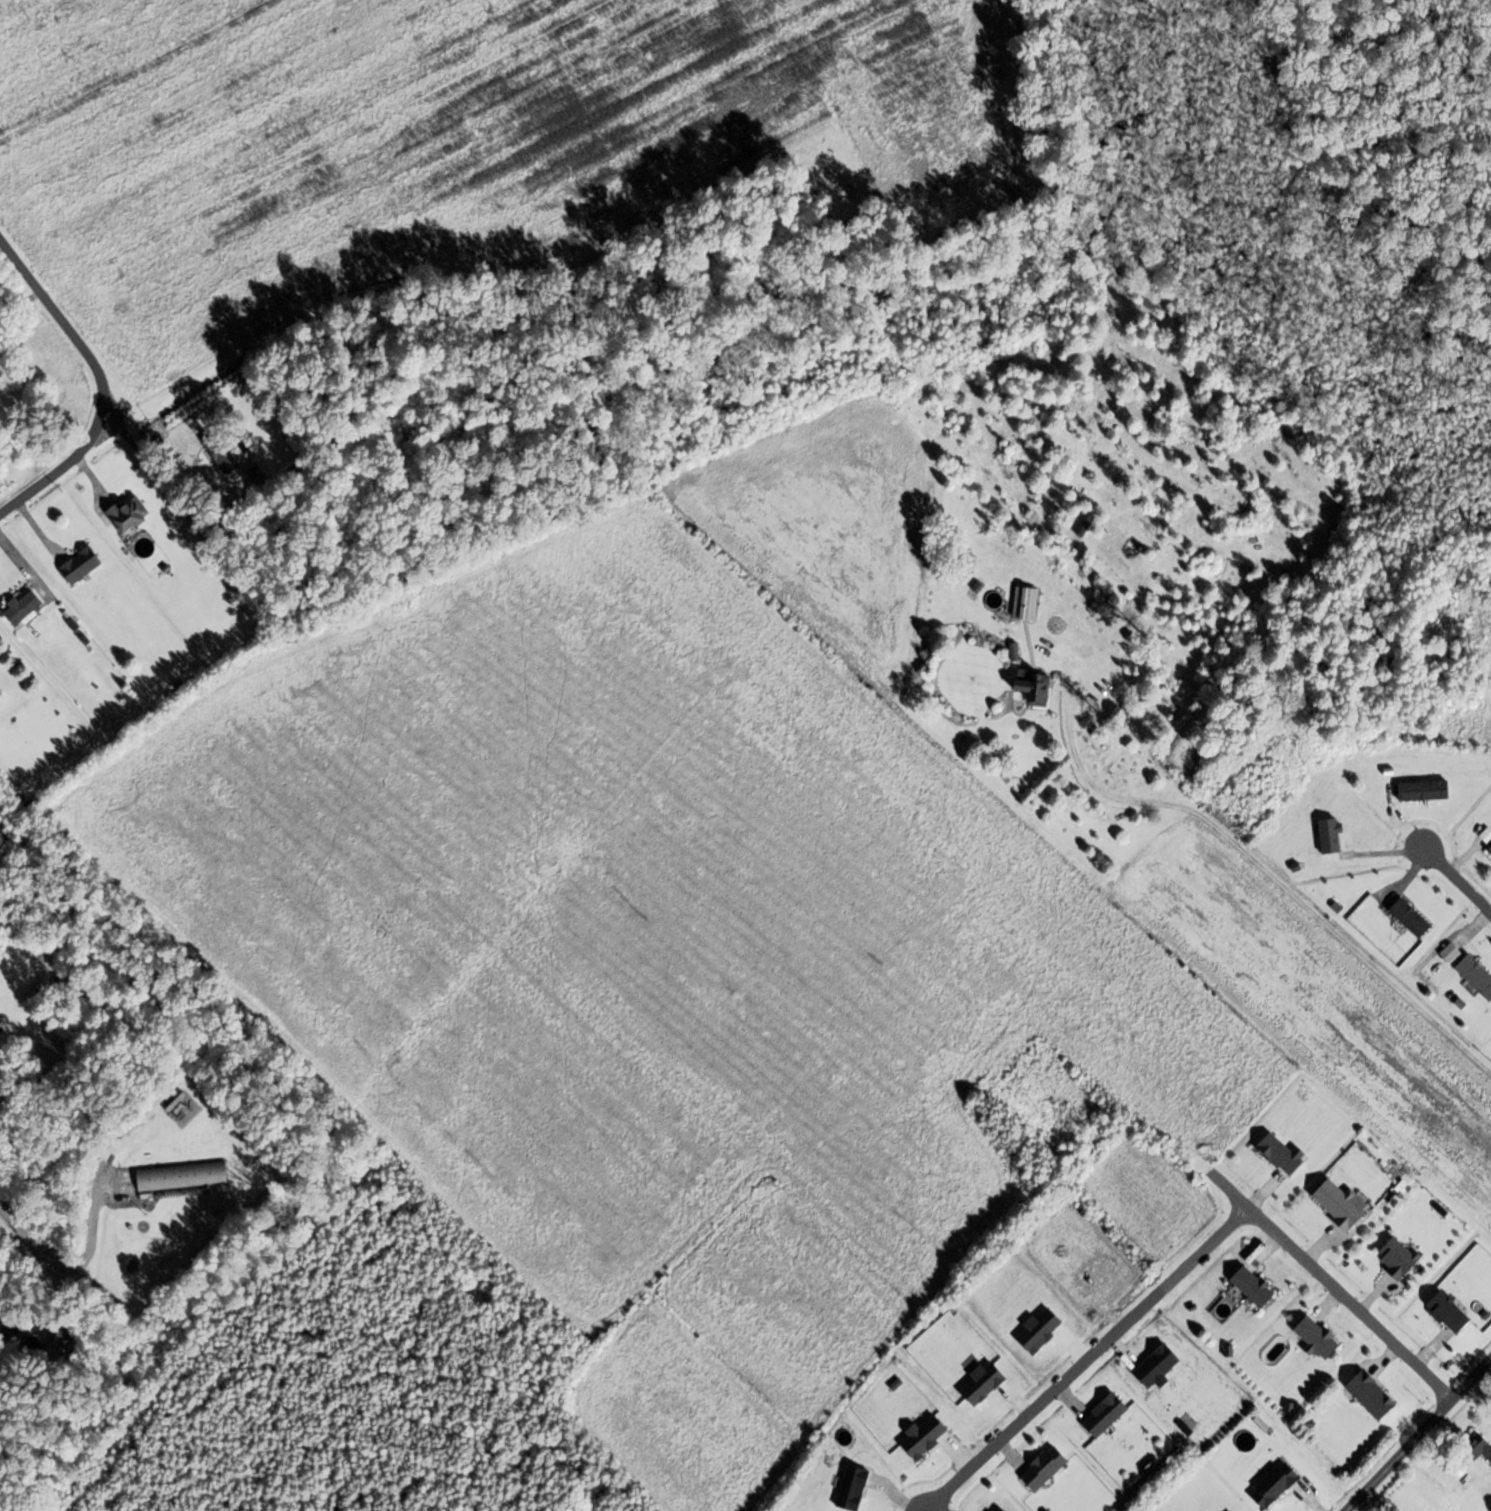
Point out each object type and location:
park: (833, 173)
road: (96, 383)
building: (230, 452)
road: (186, 513)
building: (130, 514)
building: (82, 565)
building: (1475, 587)
building: (1026, 604)
building: (24, 607)
building: (1036, 686)
building: (1490, 849)
road: (1258, 865)
road: (1455, 878)
building: (1412, 918)
building: (1477, 975)
building: (1283, 1153)
building: (182, 1176)
building: (1342, 1204)
building: (1399, 1257)
road: (65, 1265)
road: (1329, 1285)
building: (1254, 1286)
building: (1449, 1312)
building: (1318, 1338)
road: (1085, 1359)
building: (1373, 1395)
road: (1416, 1434)
building: (1479, 1446)
building: (1045, 1468)
building: (1276, 1485)
building: (1231, 1510)

